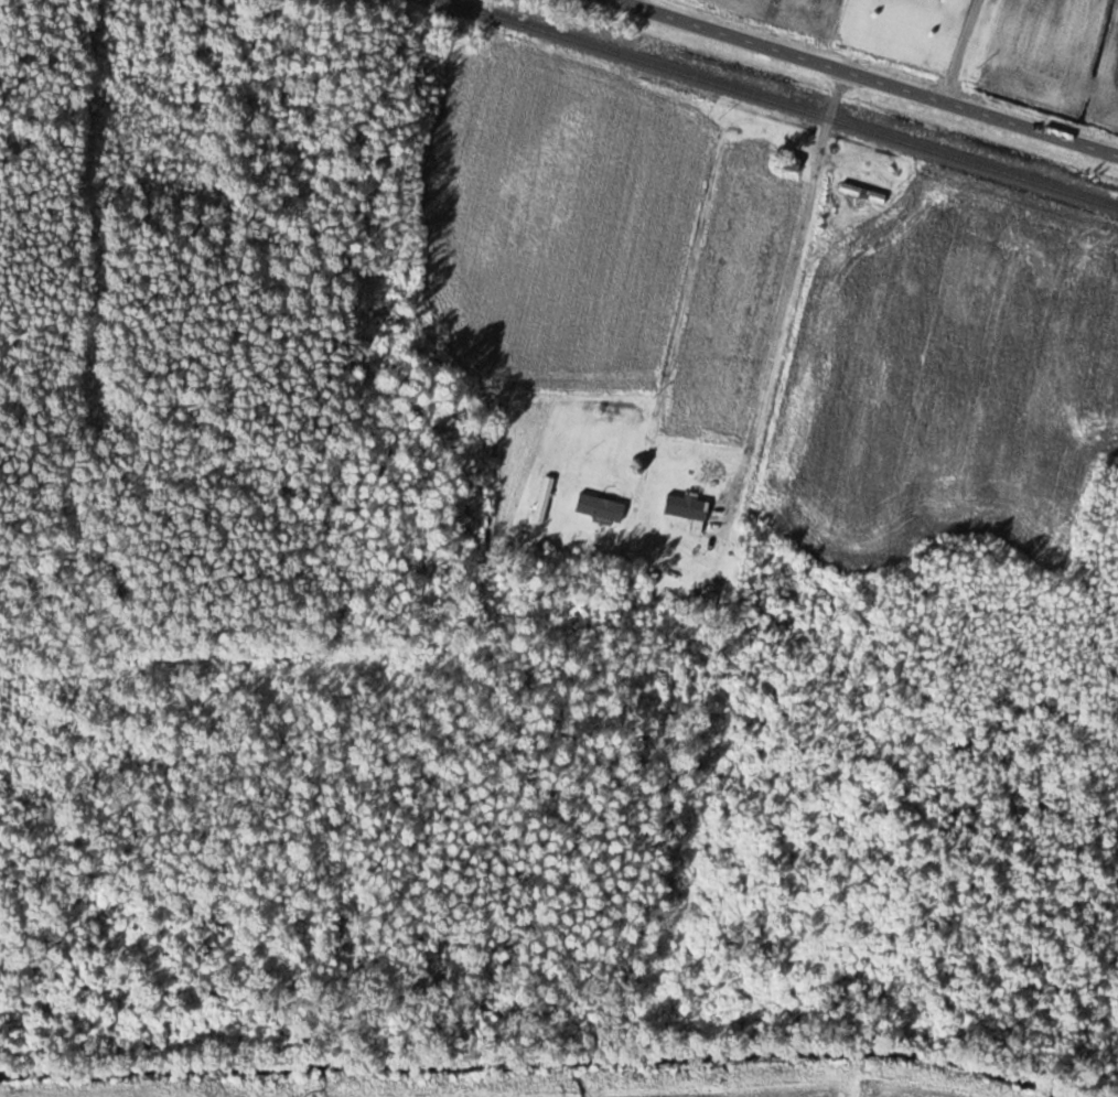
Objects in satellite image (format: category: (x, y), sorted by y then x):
road: (961, 51)
road: (864, 78)
railway: (784, 103)
building: (793, 163)
building: (863, 193)
road: (787, 293)
building: (545, 499)
building: (601, 507)
building: (688, 509)

